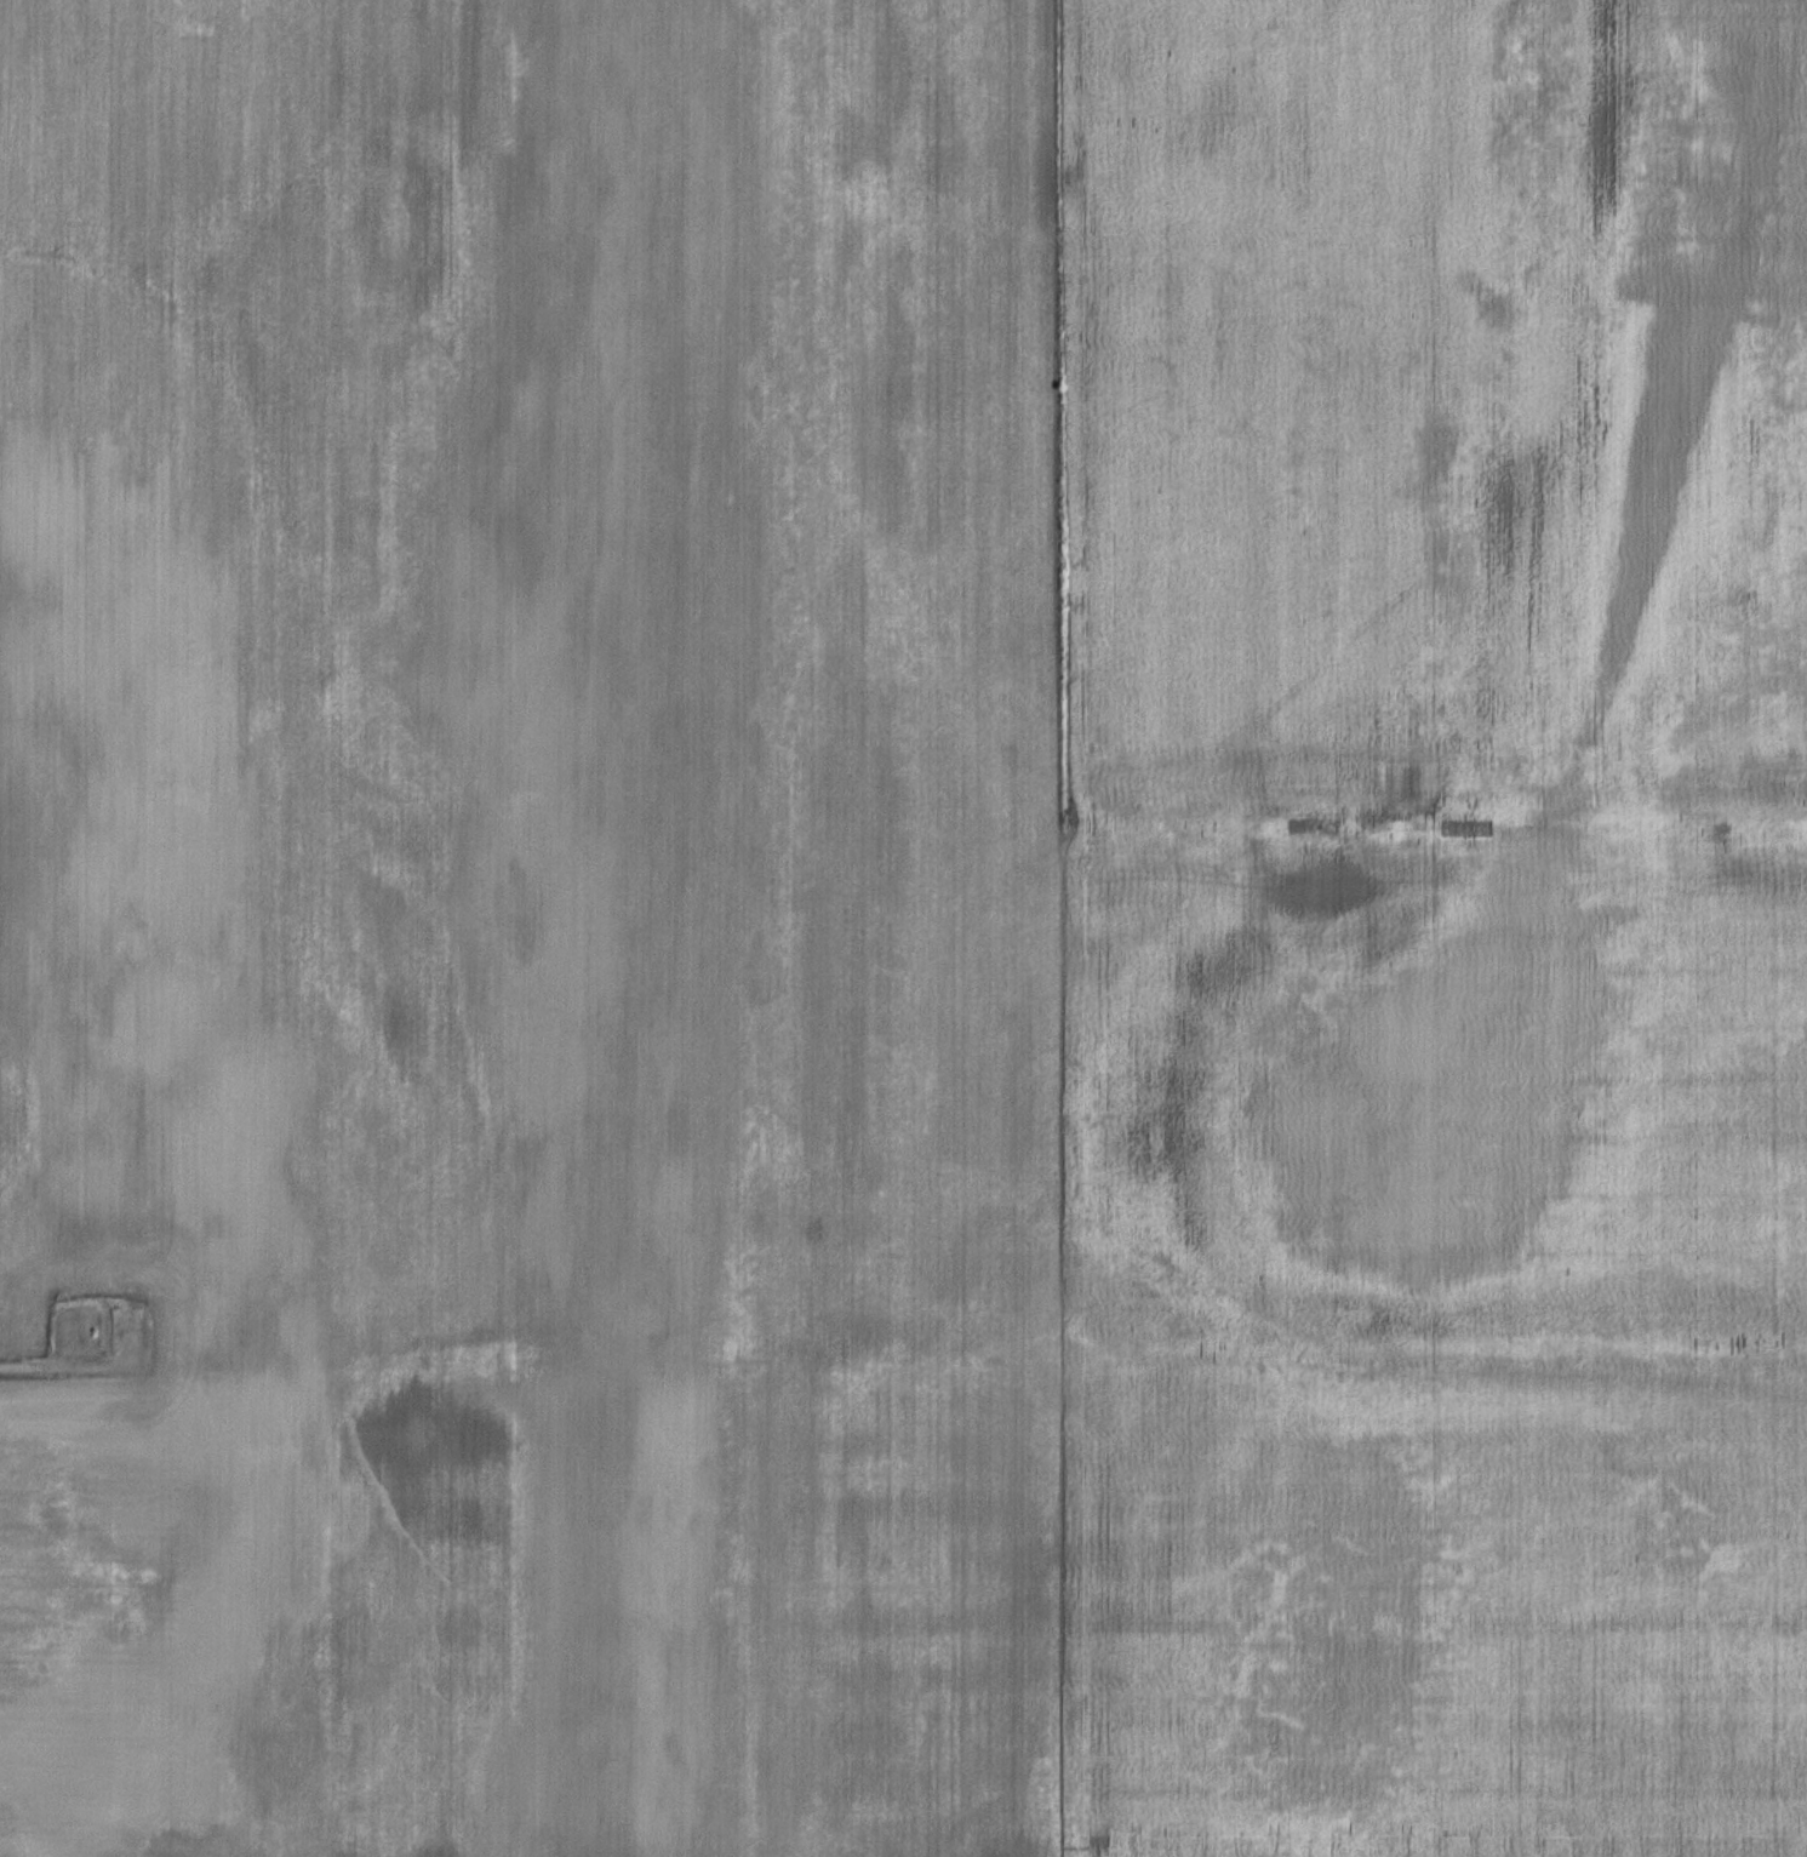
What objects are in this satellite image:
road: (65, 1369)

